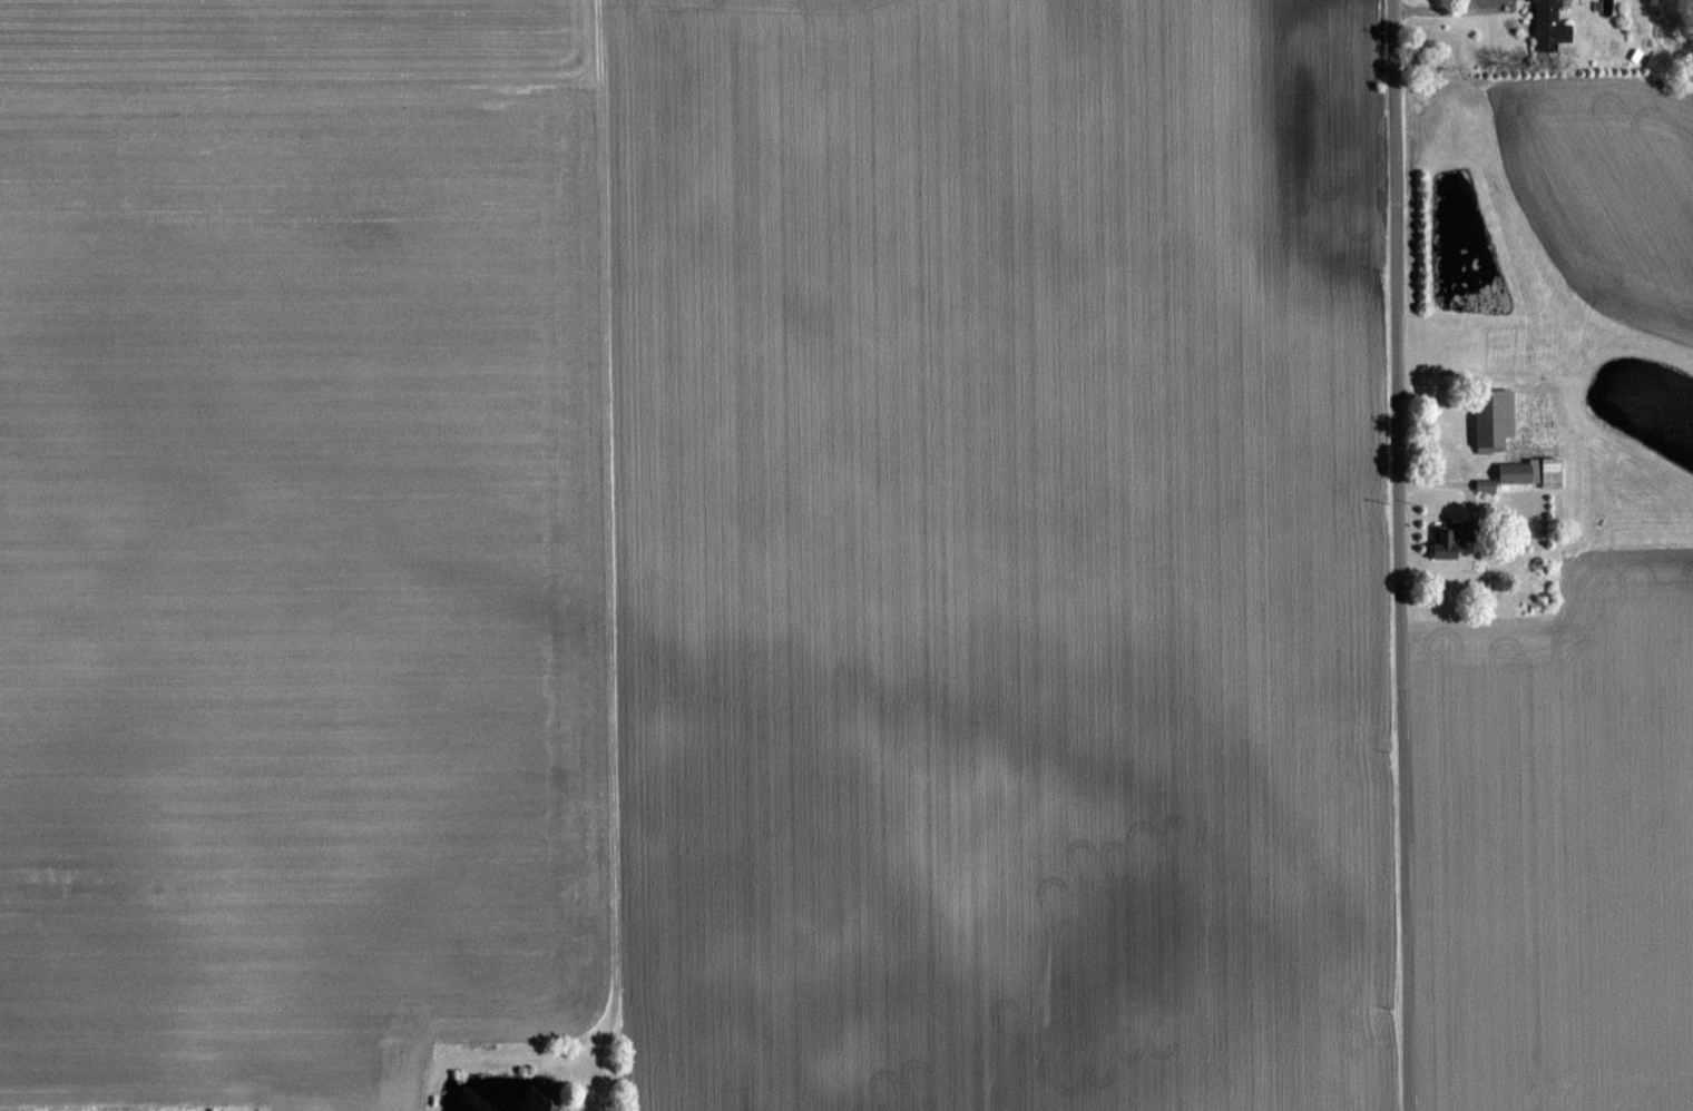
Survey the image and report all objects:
road: (1438, 4)
building: (1555, 24)
building: (1497, 417)
building: (1536, 472)
building: (1452, 540)
road: (1388, 555)

